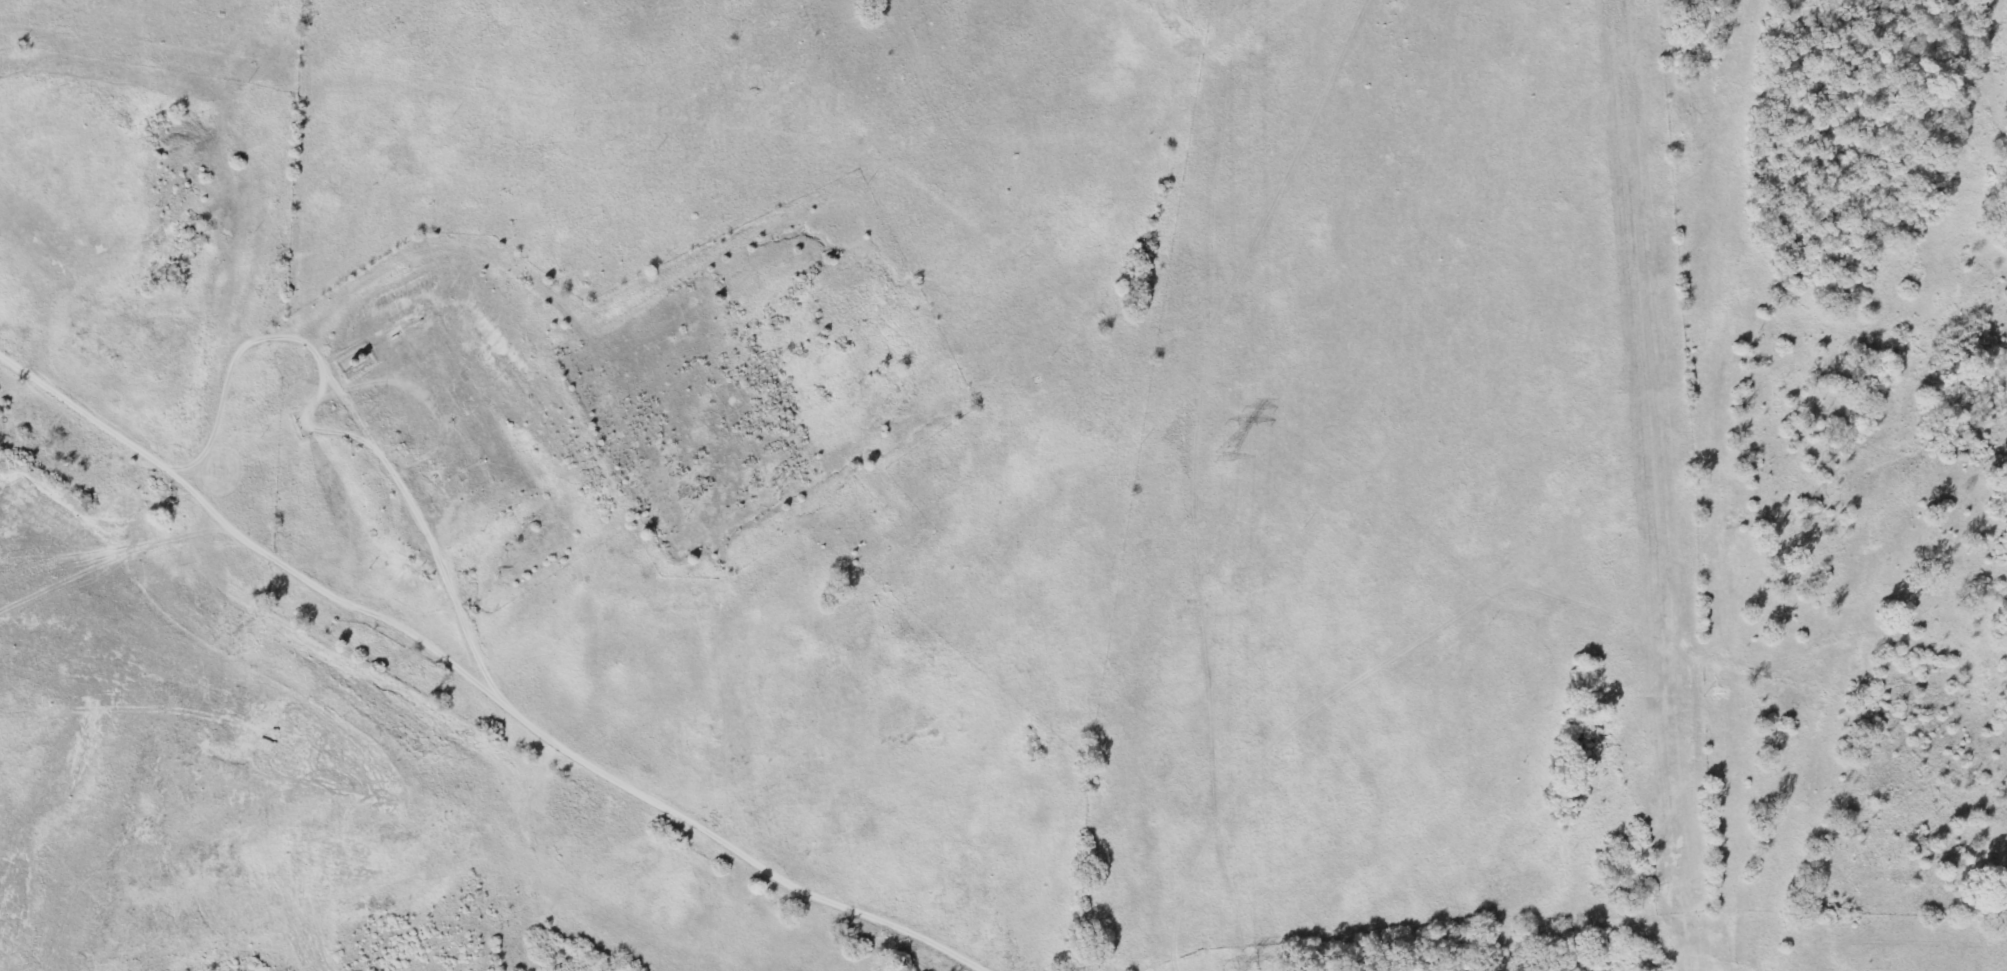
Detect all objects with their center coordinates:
power tower: (1225, 456)

